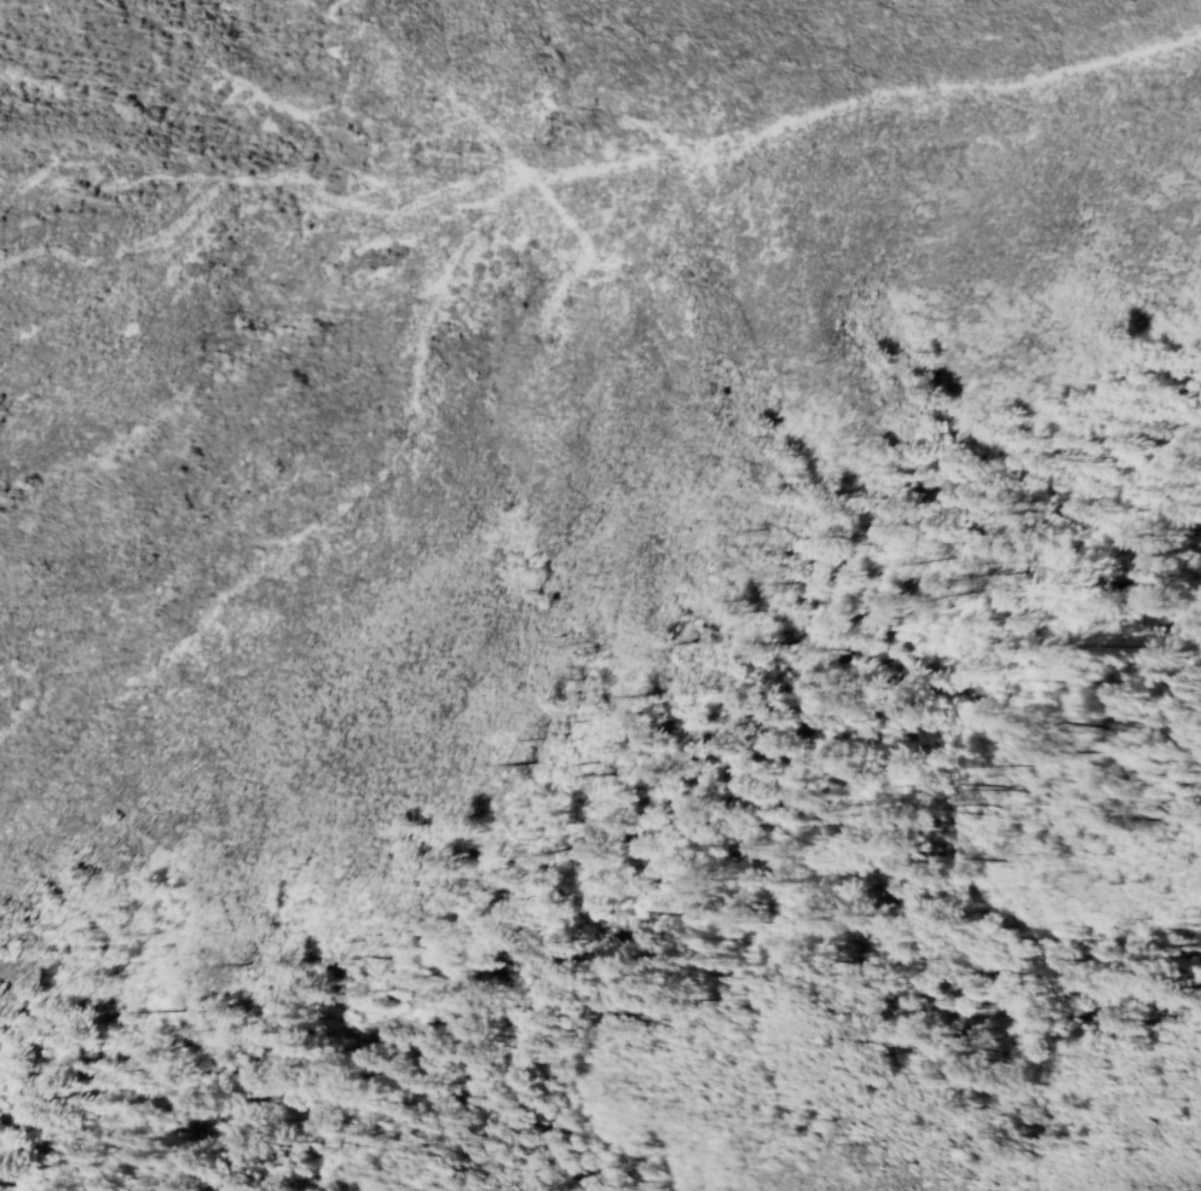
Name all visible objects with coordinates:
road: (226, 76)
road: (441, 88)
road: (102, 162)
road: (585, 172)
road: (11, 187)
road: (11, 192)
road: (366, 485)

